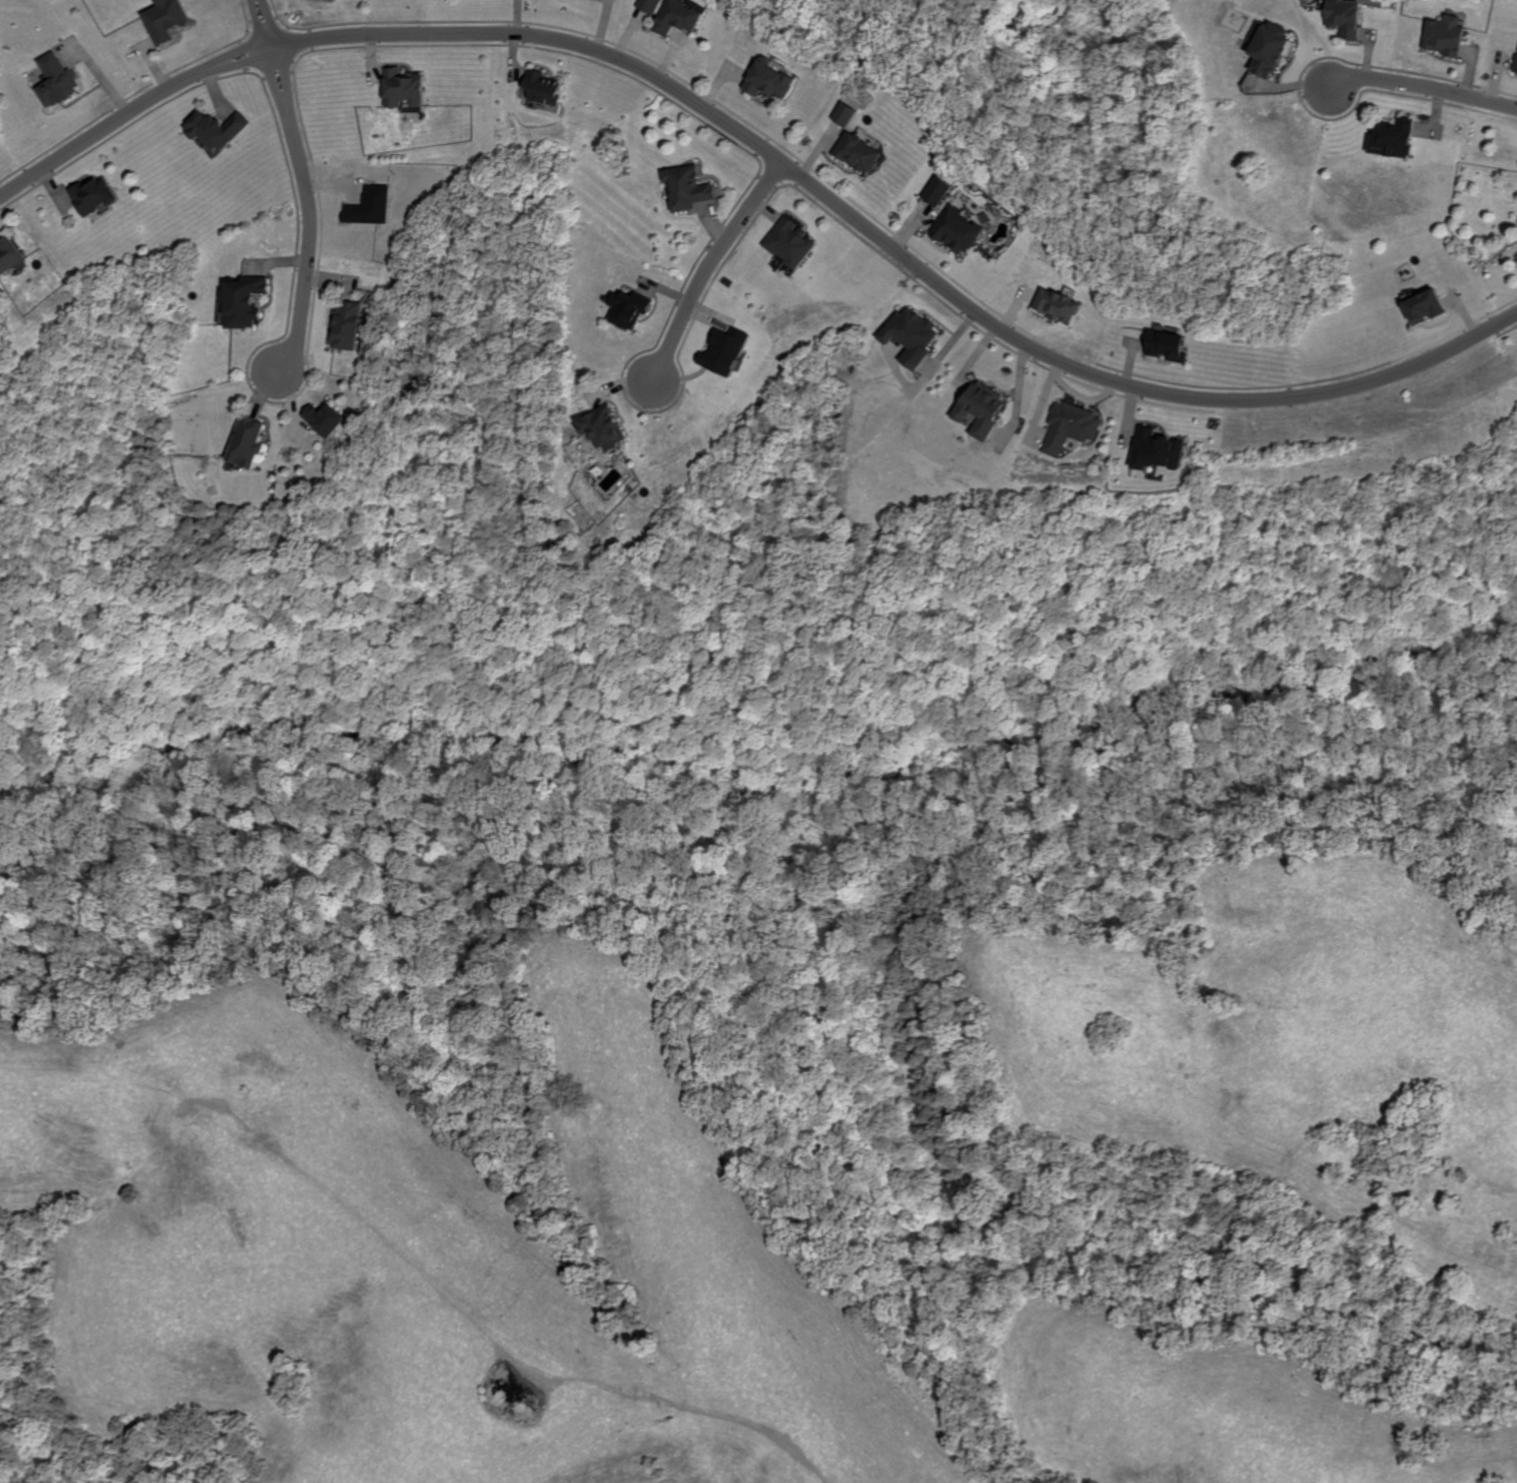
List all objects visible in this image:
building: (648, 5)
building: (1344, 16)
building: (676, 17)
building: (162, 19)
road: (269, 21)
road: (256, 26)
building: (1444, 35)
road: (545, 39)
building: (1268, 47)
road: (237, 50)
road: (241, 61)
building: (1515, 65)
building: (53, 79)
building: (767, 79)
building: (540, 86)
building: (400, 87)
road: (1425, 91)
road: (288, 99)
road: (280, 104)
building: (843, 114)
building: (213, 128)
road: (99, 129)
building: (1391, 137)
building: (856, 152)
building: (685, 187)
building: (936, 190)
building: (91, 195)
building: (368, 206)
building: (955, 230)
building: (788, 242)
building: (8, 253)
road: (308, 263)
road: (712, 266)
building: (240, 301)
building: (1056, 305)
building: (1422, 305)
building: (626, 308)
building: (345, 325)
building: (909, 335)
building: (1166, 345)
building: (722, 350)
road: (1124, 384)
building: (978, 407)
building: (323, 418)
building: (601, 427)
building: (1069, 427)
building: (244, 441)
building: (1156, 450)
road: (89, 695)
road: (42, 710)
road: (816, 759)

